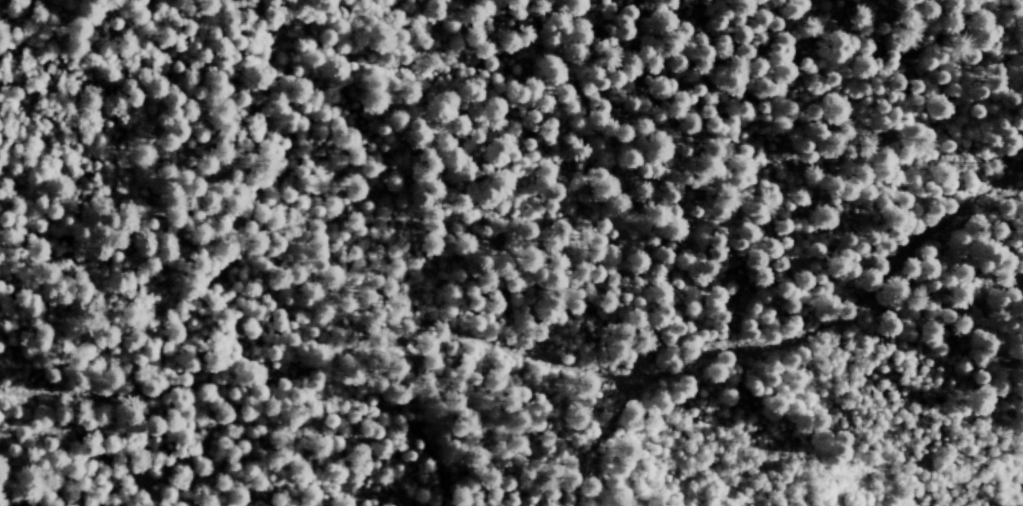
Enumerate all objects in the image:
road: (65, 34)
road: (173, 268)

